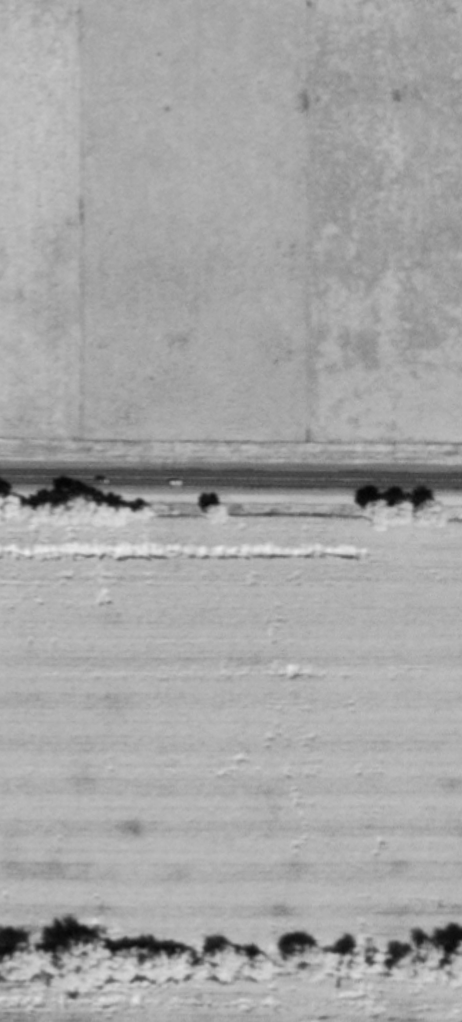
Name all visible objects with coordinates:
road: (231, 489)

